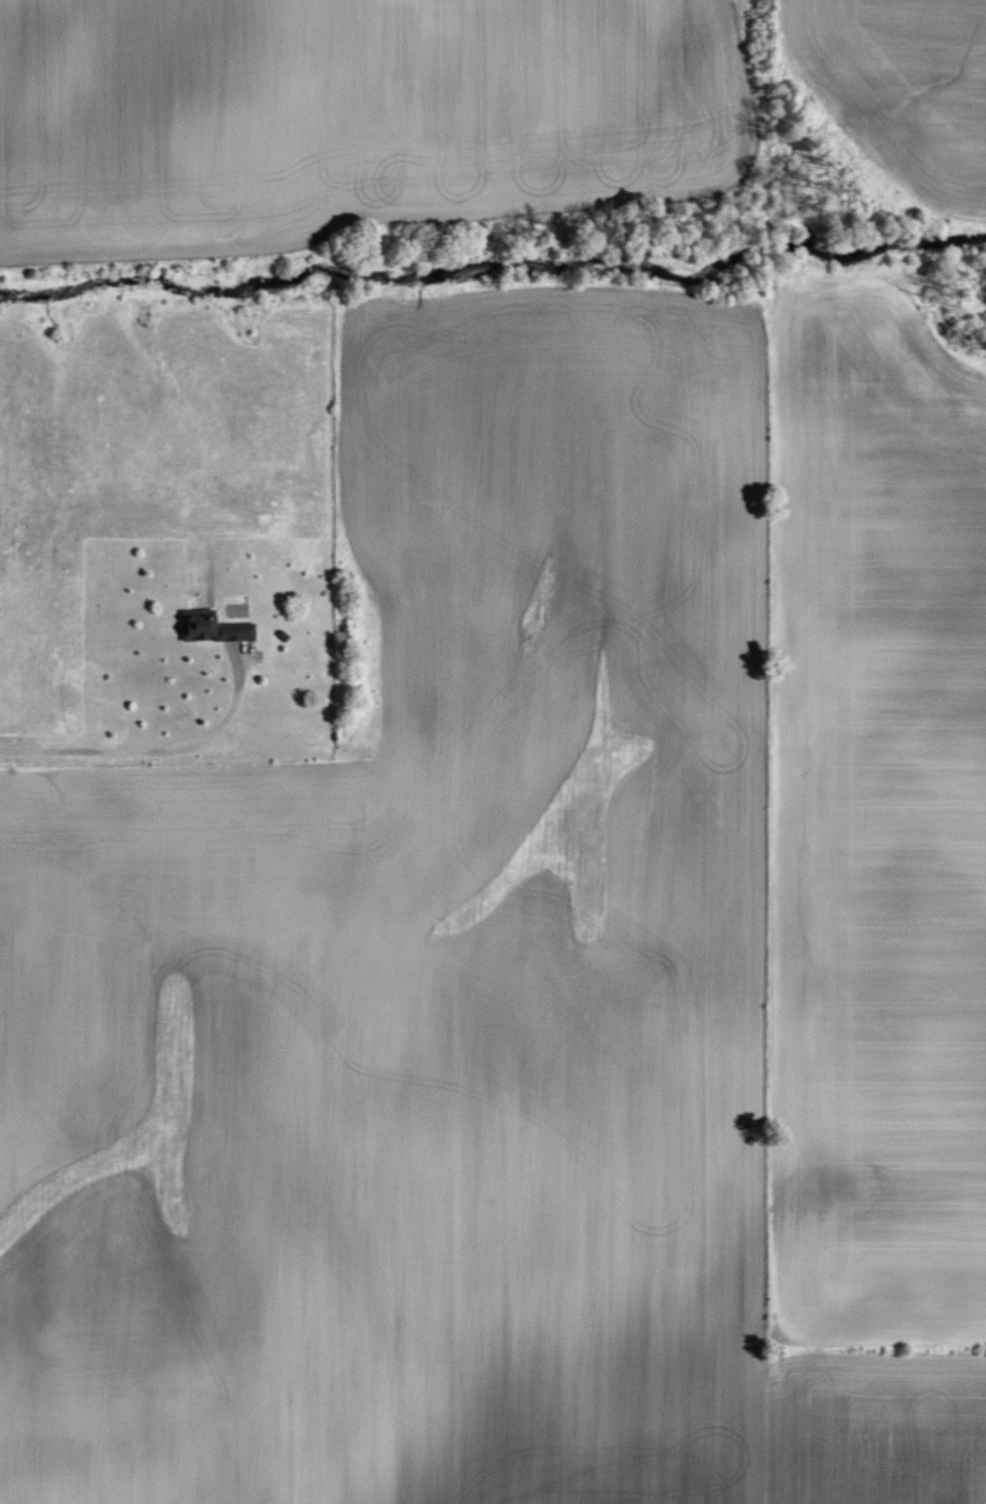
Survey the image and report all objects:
road: (144, 750)

